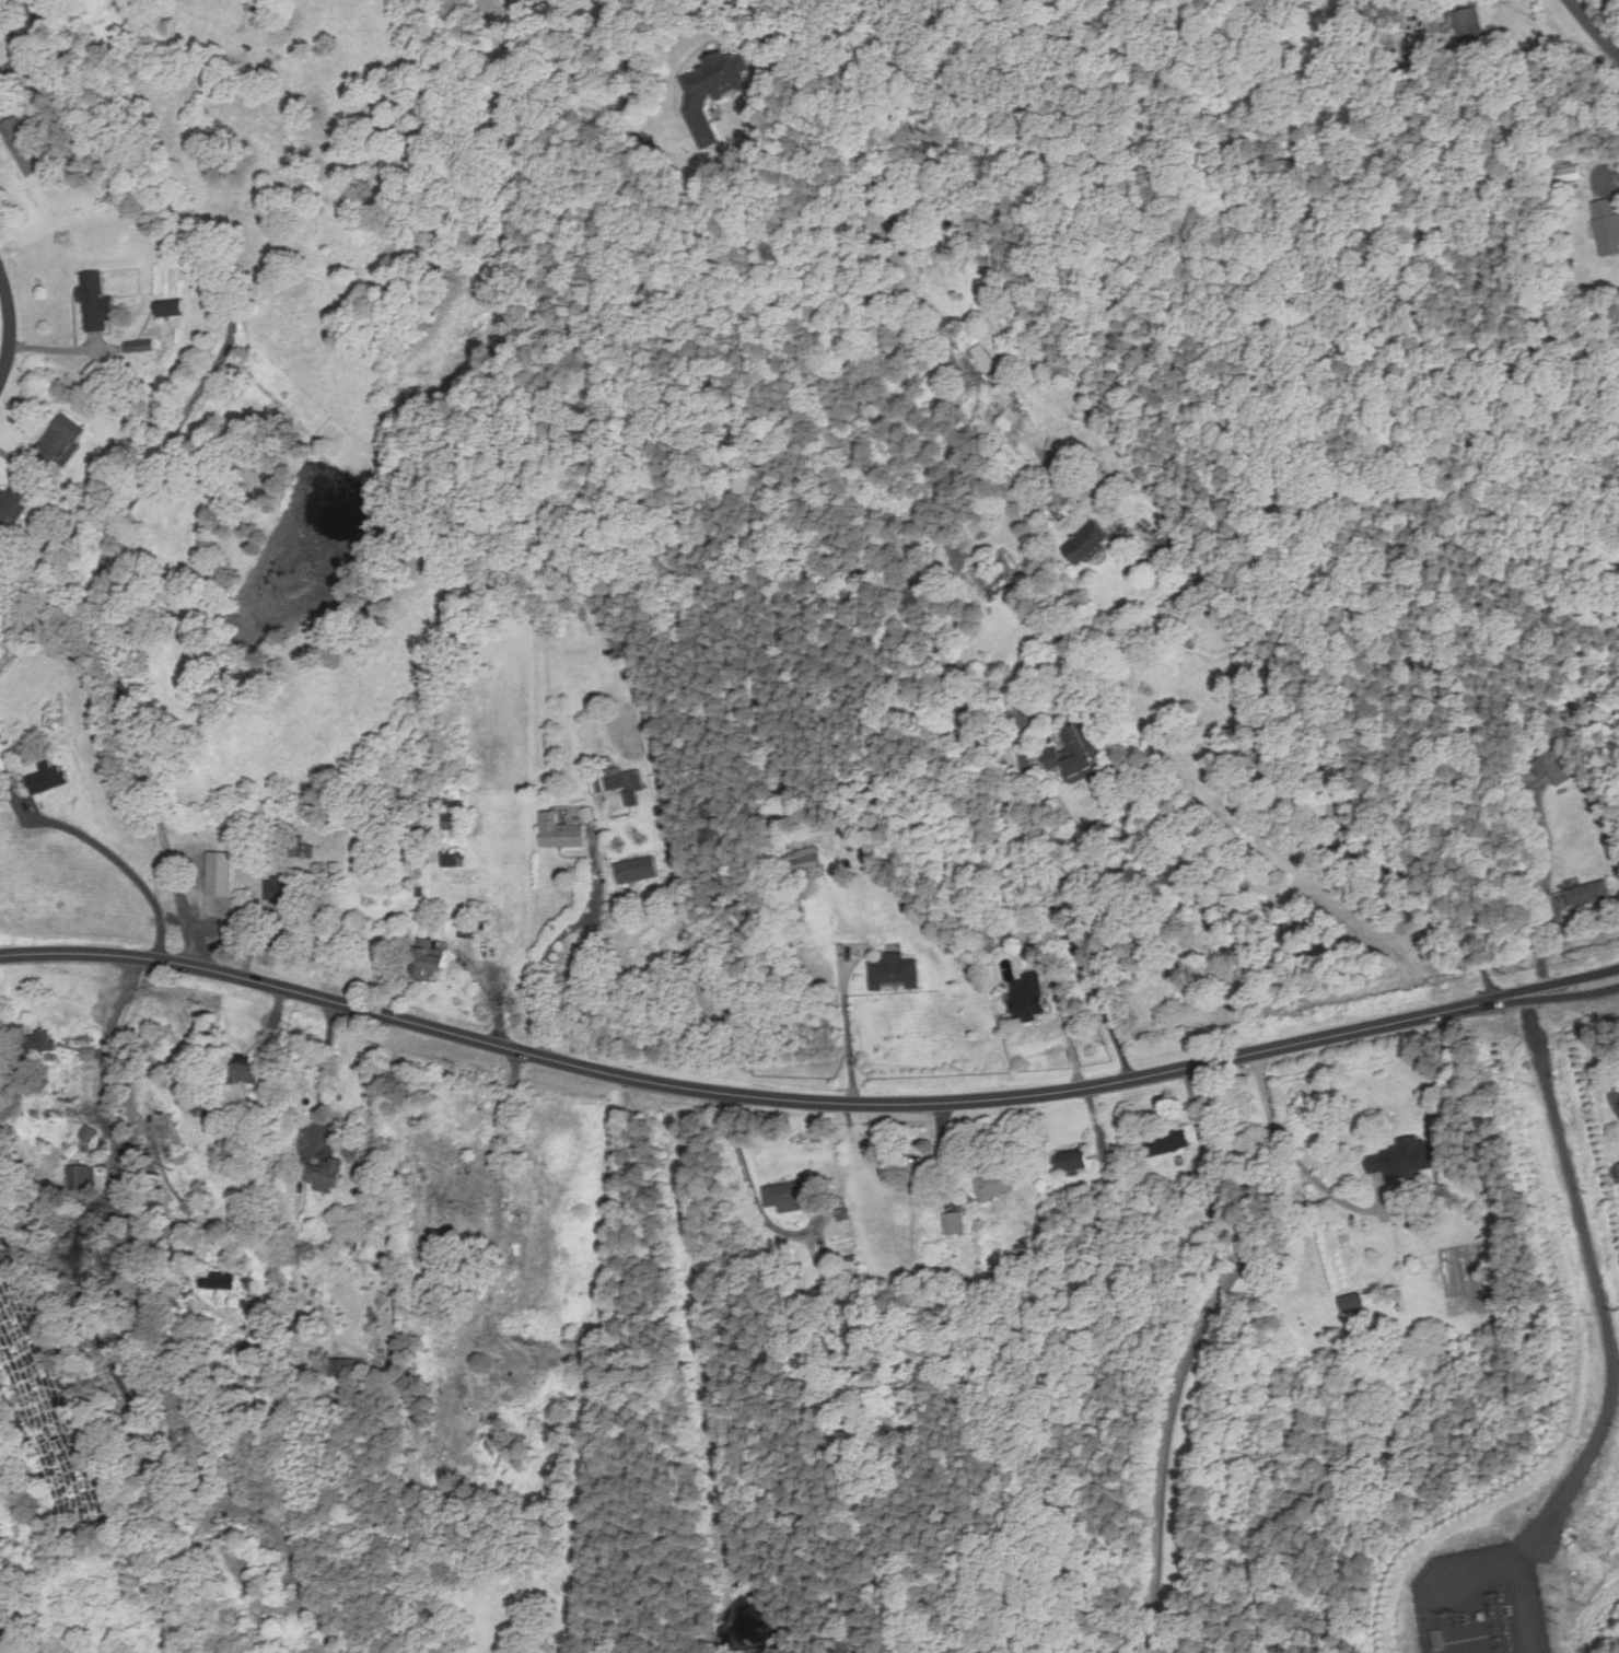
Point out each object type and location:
building: (1465, 24)
road: (1594, 28)
road: (22, 48)
road: (629, 54)
building: (701, 96)
building: (26, 145)
road: (1601, 168)
building: (1571, 174)
building: (1604, 230)
building: (98, 302)
building: (175, 309)
road: (10, 325)
building: (142, 345)
road: (69, 350)
building: (983, 357)
building: (63, 442)
road: (162, 461)
building: (13, 509)
road: (1339, 746)
building: (1554, 763)
building: (50, 778)
building: (620, 782)
building: (563, 831)
building: (415, 851)
building: (454, 858)
building: (807, 858)
road: (120, 862)
building: (641, 868)
building: (223, 873)
building: (280, 889)
building: (1587, 894)
road: (1058, 906)
road: (558, 935)
building: (436, 963)
building: (898, 970)
road: (1572, 988)
road: (1572, 992)
building: (1034, 994)
road: (1070, 1032)
road: (849, 1034)
road: (1535, 1034)
building: (251, 1071)
road: (325, 1074)
road: (759, 1096)
road: (107, 1111)
building: (1176, 1141)
building: (1402, 1157)
building: (1081, 1161)
building: (1617, 1166)
building: (328, 1174)
building: (82, 1177)
road: (496, 1177)
road: (752, 1178)
road: (1312, 1178)
building: (998, 1184)
building: (791, 1195)
building: (956, 1222)
building: (222, 1280)
building: (1351, 1302)
road: (1606, 1322)
road: (1196, 1344)
road: (601, 1366)
power substation: (1480, 1602)

